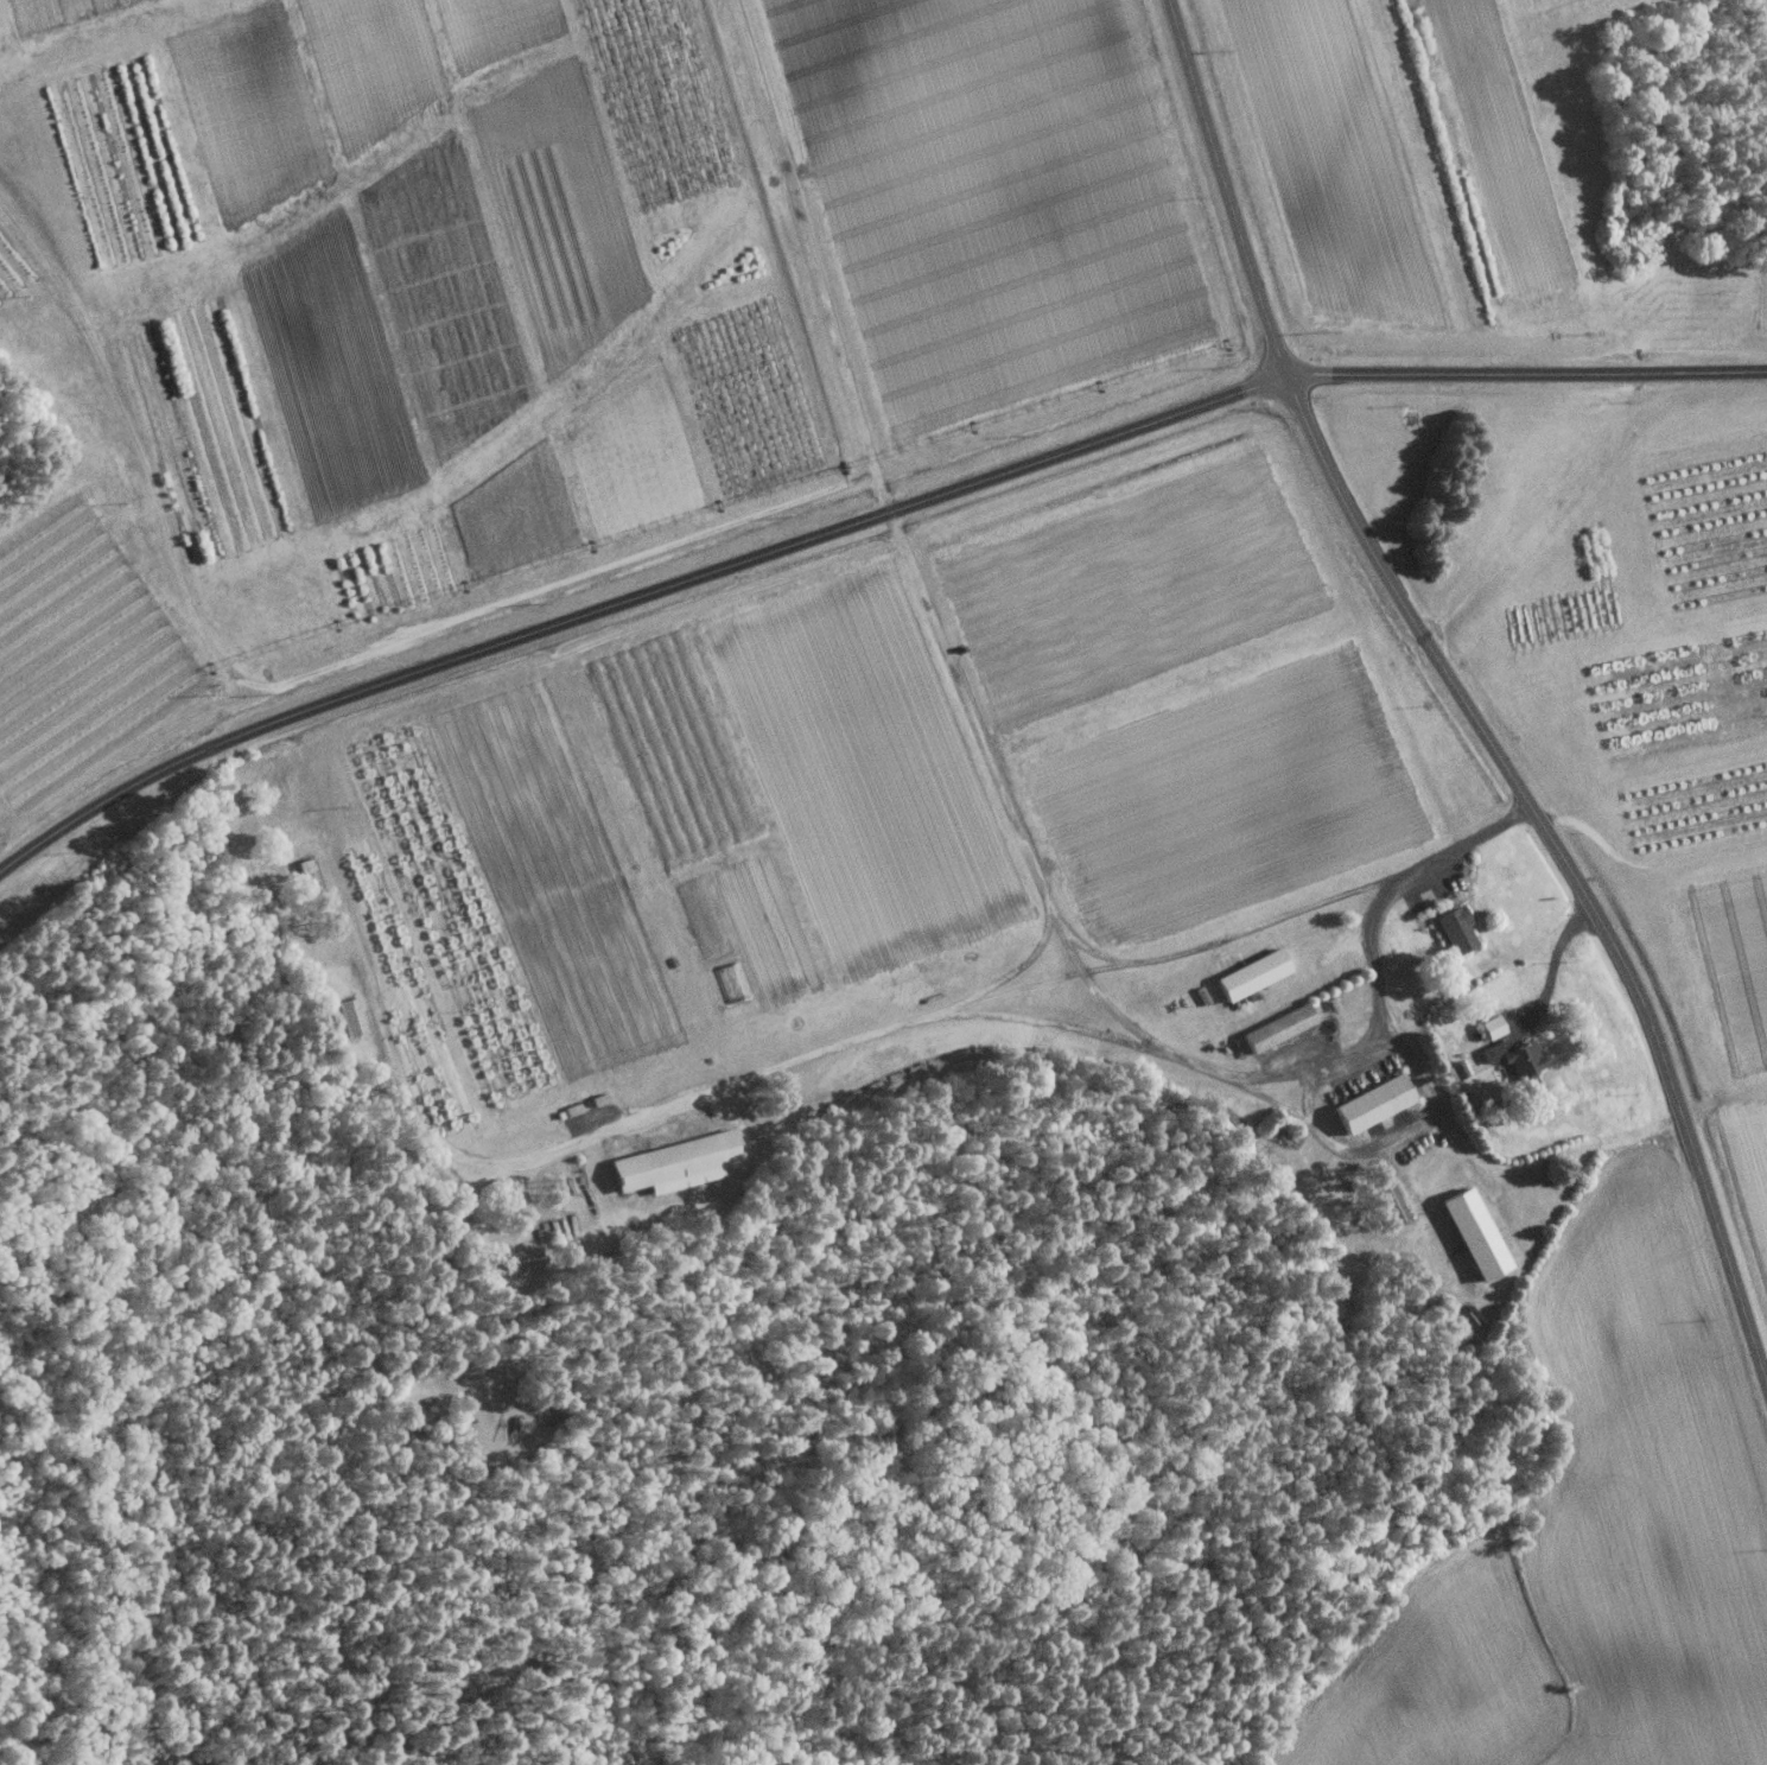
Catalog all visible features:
road: (1526, 374)
road: (630, 601)
road: (1458, 697)
building: (1461, 928)
building: (1259, 973)
building: (356, 1016)
building: (1498, 1026)
building: (1285, 1027)
building: (1520, 1056)
building: (1463, 1069)
building: (1378, 1103)
building: (682, 1162)
building: (1481, 1233)
building: (527, 1258)

